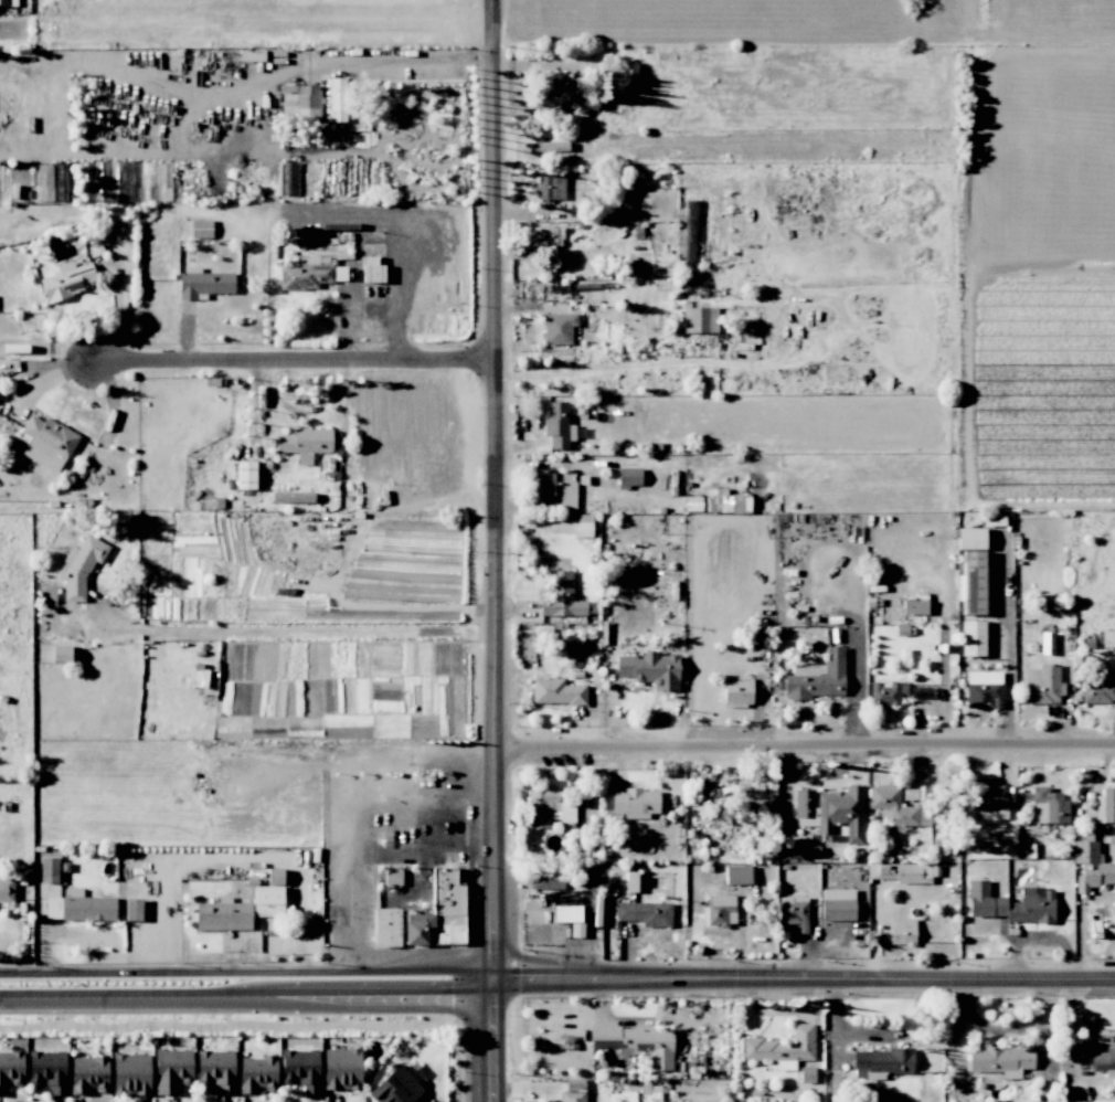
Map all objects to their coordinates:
building: (4, 2)
road: (246, 14)
road: (8, 32)
road: (405, 57)
building: (553, 87)
building: (337, 99)
building: (300, 102)
building: (577, 108)
building: (288, 178)
building: (85, 181)
building: (43, 182)
building: (550, 188)
building: (200, 229)
building: (546, 236)
building: (372, 269)
building: (309, 274)
building: (66, 280)
building: (203, 283)
building: (699, 319)
building: (557, 328)
road: (291, 359)
road: (304, 411)
building: (557, 425)
building: (46, 443)
building: (305, 443)
building: (245, 475)
building: (629, 477)
building: (559, 488)
building: (293, 497)
building: (725, 501)
building: (584, 526)
building: (970, 539)
road: (493, 550)
building: (79, 566)
building: (975, 584)
building: (561, 596)
building: (914, 606)
road: (296, 628)
building: (973, 638)
building: (1107, 638)
building: (61, 656)
building: (650, 669)
building: (817, 677)
building: (1041, 685)
building: (983, 689)
building: (1100, 689)
building: (555, 691)
building: (920, 691)
building: (737, 692)
building: (886, 692)
road: (804, 743)
road: (464, 765)
building: (754, 797)
building: (990, 798)
building: (635, 801)
building: (804, 805)
building: (892, 806)
building: (1047, 806)
building: (1104, 806)
building: (548, 807)
road: (461, 812)
building: (841, 812)
road: (358, 845)
building: (1091, 867)
building: (49, 870)
building: (900, 872)
building: (737, 875)
building: (275, 876)
building: (392, 877)
building: (546, 879)
building: (6, 890)
building: (267, 901)
building: (1011, 903)
building: (837, 904)
building: (79, 907)
building: (564, 909)
building: (132, 910)
building: (720, 910)
building: (794, 912)
building: (645, 913)
building: (222, 915)
building: (386, 928)
building: (902, 932)
road: (246, 971)
road: (803, 978)
road: (246, 994)
road: (1074, 1020)
road: (877, 1036)
building: (637, 1042)
building: (782, 1046)
building: (1000, 1060)
building: (1103, 1061)
building: (881, 1062)
building: (784, 1064)
building: (341, 1068)
building: (11, 1069)
building: (300, 1069)
building: (47, 1070)
building: (171, 1070)
building: (215, 1070)
building: (130, 1073)
building: (256, 1073)
building: (88, 1074)
building: (395, 1088)
building: (573, 1091)

